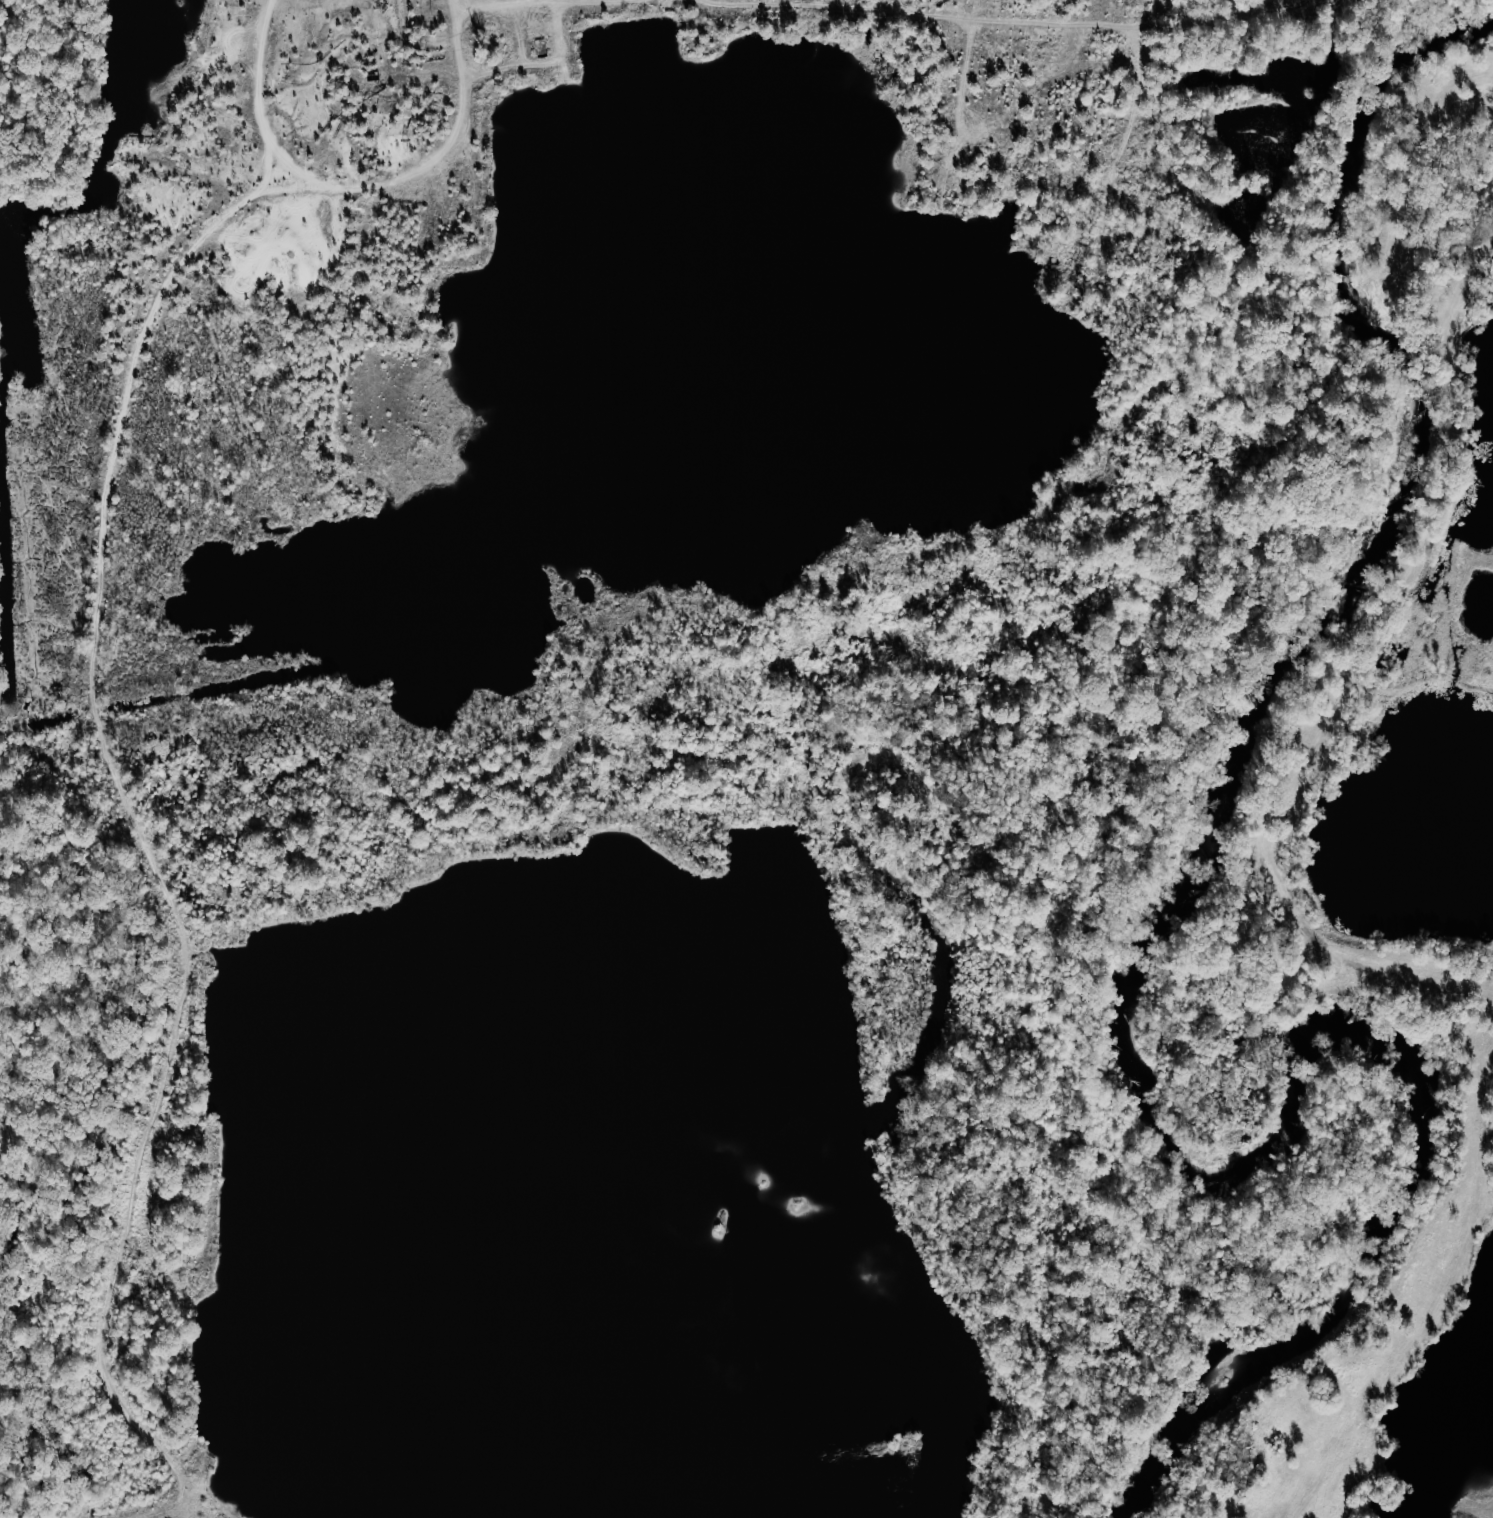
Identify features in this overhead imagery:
river: (1166, 929)

